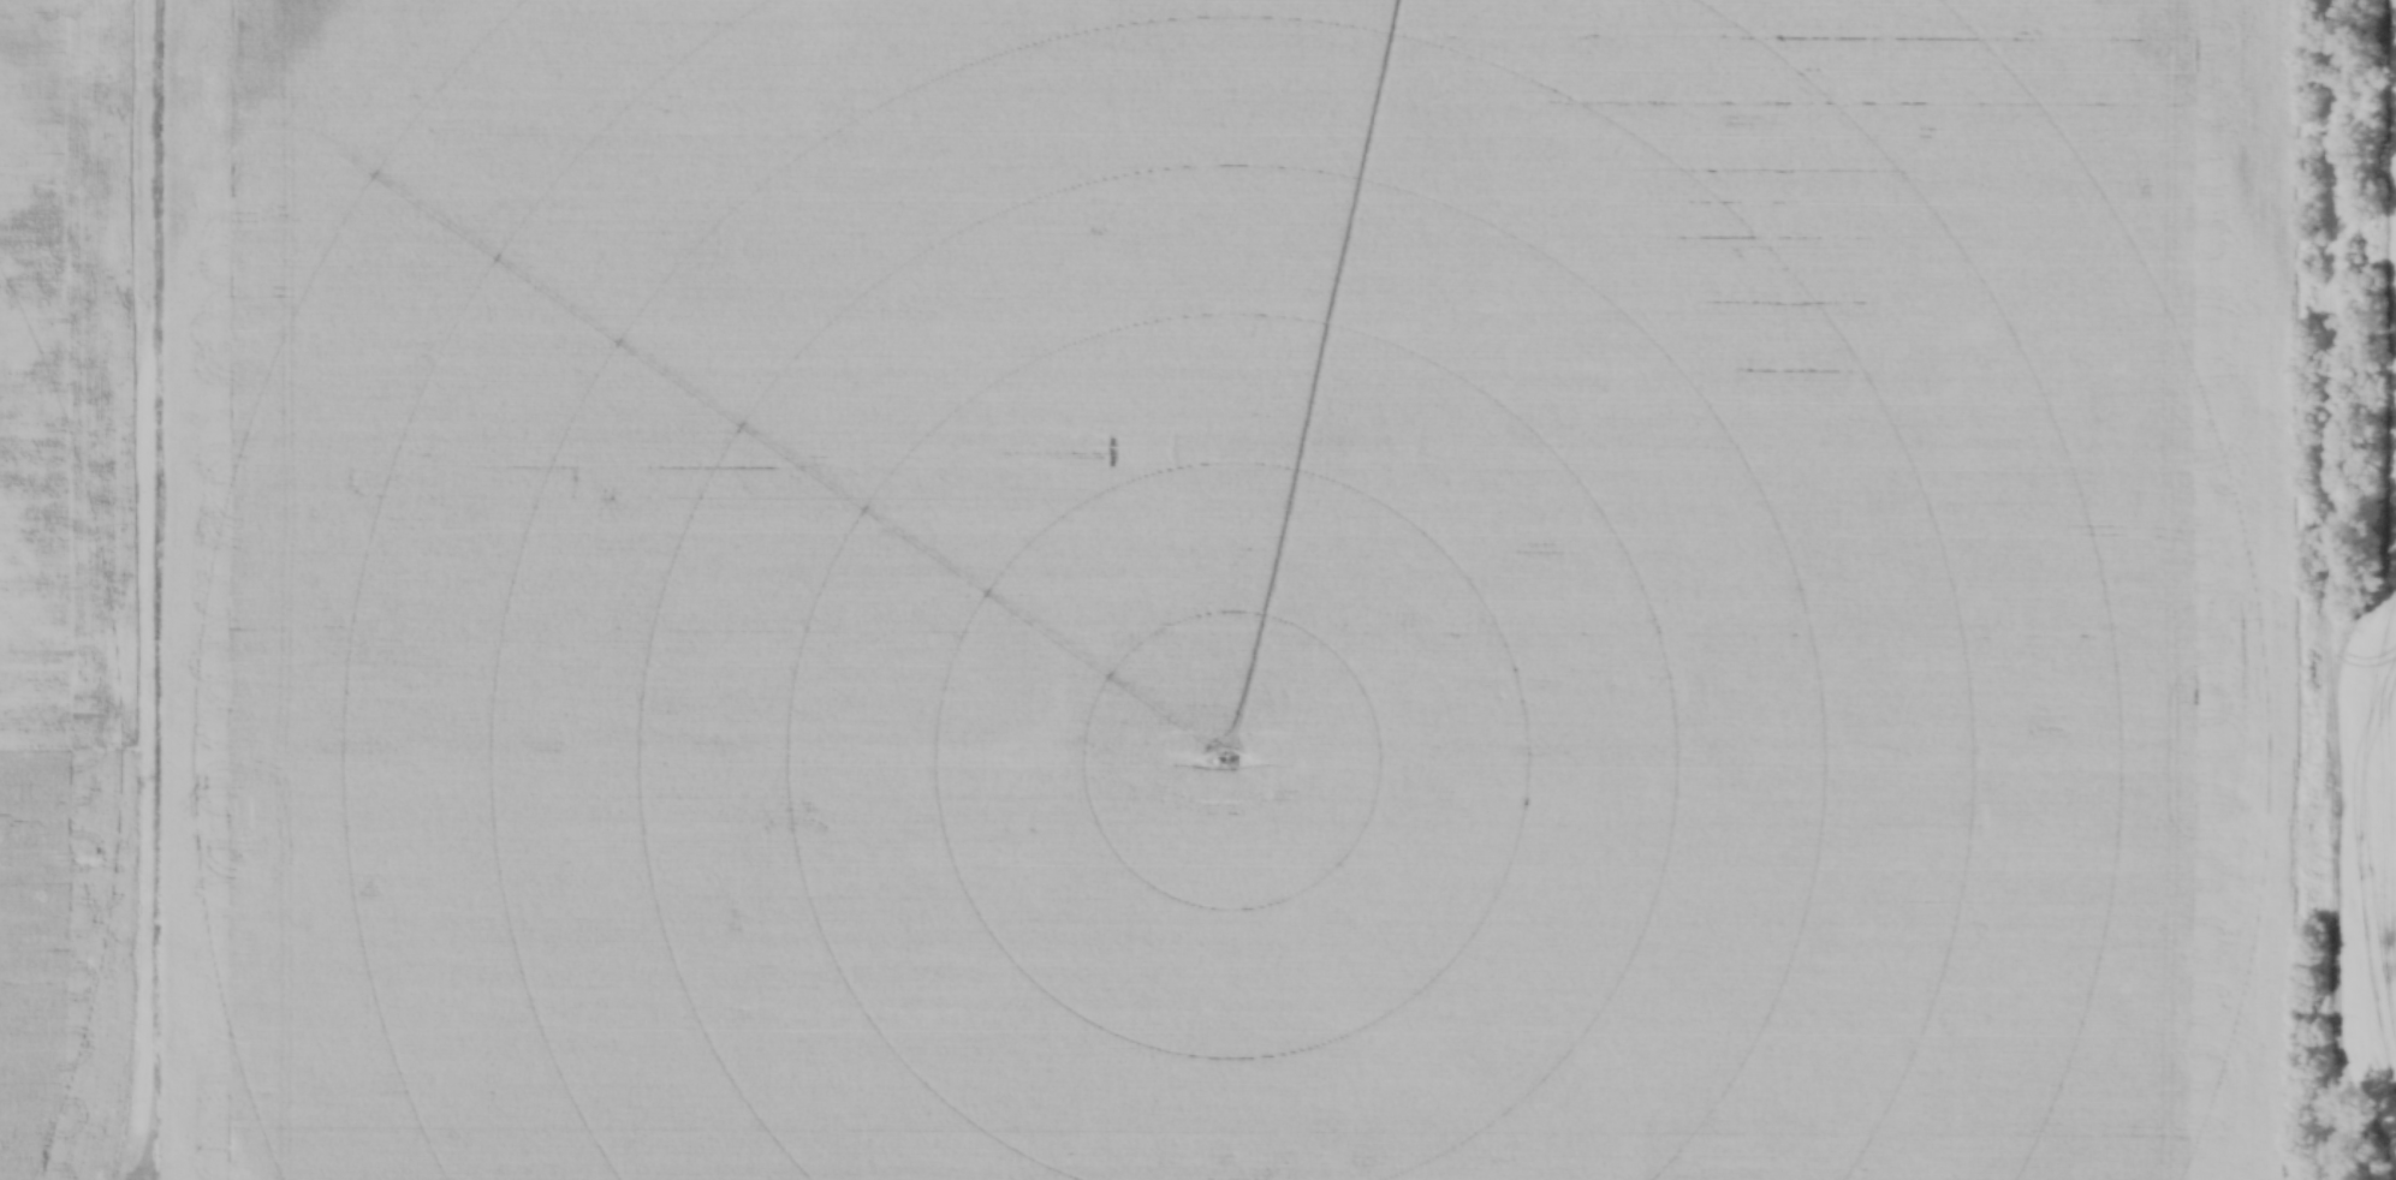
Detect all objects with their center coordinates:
road: (2336, 589)

